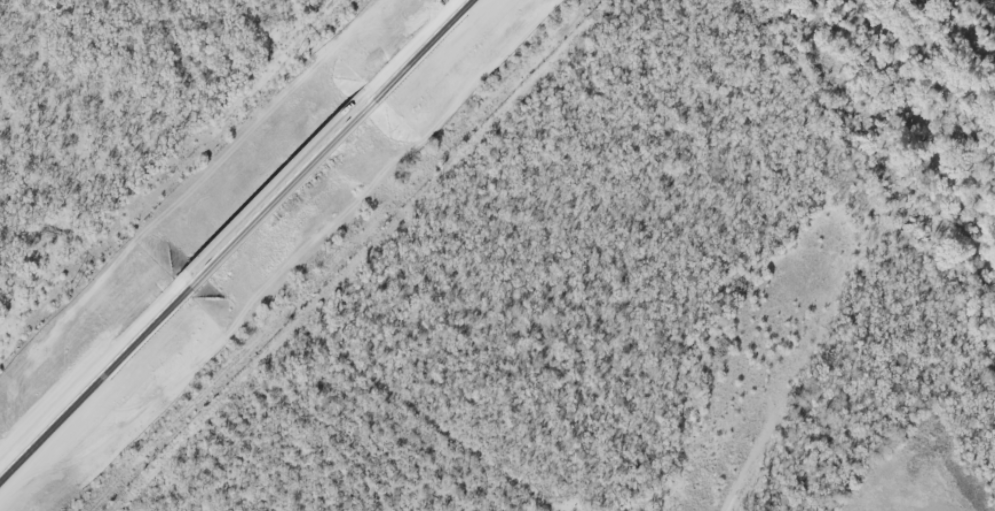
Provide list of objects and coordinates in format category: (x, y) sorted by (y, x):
river: (993, 1)
power tower: (297, 54)
road: (234, 239)
power tower: (72, 284)

